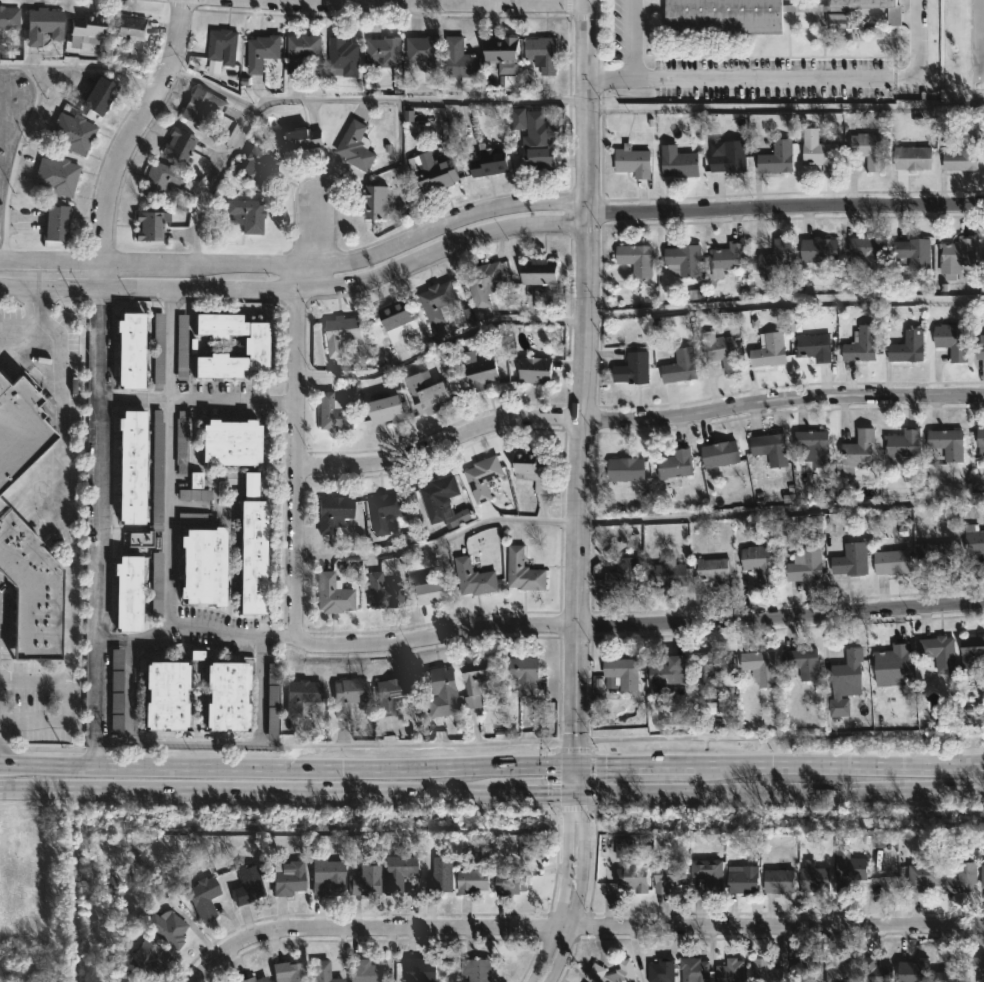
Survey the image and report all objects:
road: (419, 3)
building: (756, 15)
building: (9, 18)
building: (44, 24)
building: (133, 27)
building: (88, 30)
building: (224, 45)
park: (963, 49)
building: (386, 50)
building: (264, 51)
building: (303, 51)
building: (424, 51)
building: (504, 51)
road: (916, 52)
building: (544, 54)
building: (345, 55)
building: (462, 60)
road: (82, 66)
road: (608, 81)
road: (718, 81)
road: (212, 87)
building: (96, 95)
road: (334, 99)
road: (784, 105)
building: (205, 112)
building: (69, 133)
road: (136, 136)
building: (306, 138)
building: (530, 142)
building: (179, 144)
building: (357, 145)
building: (866, 150)
building: (817, 151)
building: (961, 155)
building: (727, 157)
building: (774, 157)
building: (910, 158)
building: (487, 161)
building: (630, 161)
building: (676, 164)
road: (14, 166)
building: (259, 167)
building: (437, 174)
building: (53, 175)
building: (159, 180)
building: (376, 202)
road: (785, 205)
building: (248, 213)
building: (57, 222)
building: (148, 225)
road: (314, 227)
building: (817, 250)
building: (867, 251)
building: (915, 253)
building: (956, 254)
building: (726, 257)
building: (634, 259)
road: (347, 260)
building: (681, 260)
building: (773, 260)
building: (537, 272)
road: (48, 273)
road: (304, 275)
building: (487, 281)
road: (346, 282)
road: (96, 289)
building: (438, 301)
road: (634, 313)
building: (398, 319)
road: (20, 322)
building: (338, 334)
building: (949, 340)
building: (254, 345)
building: (859, 345)
building: (178, 346)
building: (812, 347)
building: (906, 347)
building: (127, 349)
building: (156, 349)
building: (767, 351)
building: (978, 351)
building: (719, 352)
building: (679, 365)
building: (631, 369)
building: (481, 370)
building: (534, 370)
building: (429, 393)
road: (580, 395)
road: (195, 400)
building: (387, 410)
building: (335, 413)
road: (636, 421)
building: (19, 427)
building: (979, 437)
building: (181, 443)
building: (227, 443)
building: (901, 444)
building: (946, 444)
building: (769, 449)
building: (809, 450)
building: (856, 451)
building: (718, 454)
building: (673, 464)
building: (129, 466)
building: (530, 468)
building: (626, 469)
building: (484, 477)
road: (294, 478)
building: (154, 482)
building: (248, 484)
building: (192, 494)
building: (437, 499)
road: (61, 504)
building: (385, 511)
building: (331, 512)
building: (191, 517)
building: (458, 518)
road: (167, 519)
road: (635, 519)
road: (95, 524)
building: (137, 538)
building: (973, 542)
building: (249, 556)
building: (937, 556)
building: (849, 560)
building: (757, 562)
building: (890, 563)
building: (200, 566)
building: (804, 567)
building: (711, 571)
building: (525, 572)
building: (666, 574)
building: (622, 576)
building: (475, 578)
building: (154, 582)
building: (30, 591)
building: (383, 592)
building: (435, 592)
building: (125, 593)
building: (334, 594)
road: (653, 624)
building: (937, 654)
building: (970, 654)
building: (890, 659)
building: (801, 663)
building: (759, 667)
building: (708, 668)
building: (526, 673)
building: (621, 673)
building: (664, 676)
building: (478, 678)
building: (844, 682)
building: (441, 690)
building: (116, 692)
building: (391, 693)
building: (163, 695)
building: (224, 695)
building: (302, 695)
building: (345, 696)
building: (272, 722)
road: (177, 741)
road: (93, 754)
road: (491, 764)
traffic signals: (573, 764)
road: (977, 777)
road: (491, 792)
traffic signals: (573, 792)
building: (876, 841)
building: (525, 845)
building: (623, 849)
building: (847, 868)
building: (401, 869)
building: (705, 872)
building: (922, 873)
building: (981, 874)
building: (325, 875)
building: (439, 875)
building: (666, 875)
building: (812, 875)
building: (629, 876)
building: (471, 877)
building: (961, 877)
building: (287, 878)
building: (365, 879)
building: (742, 880)
building: (776, 880)
building: (248, 881)
building: (508, 881)
building: (111, 887)
road: (569, 889)
building: (204, 896)
building: (167, 926)
road: (603, 929)
building: (145, 959)
road: (207, 963)
building: (977, 966)
building: (423, 969)
building: (477, 969)
building: (366, 970)
building: (660, 970)
building: (692, 970)
building: (805, 970)
building: (839, 970)
building: (289, 971)
building: (319, 971)
building: (728, 971)
building: (763, 971)
building: (874, 971)
building: (911, 971)
building: (951, 971)
building: (611, 972)
building: (255, 979)

